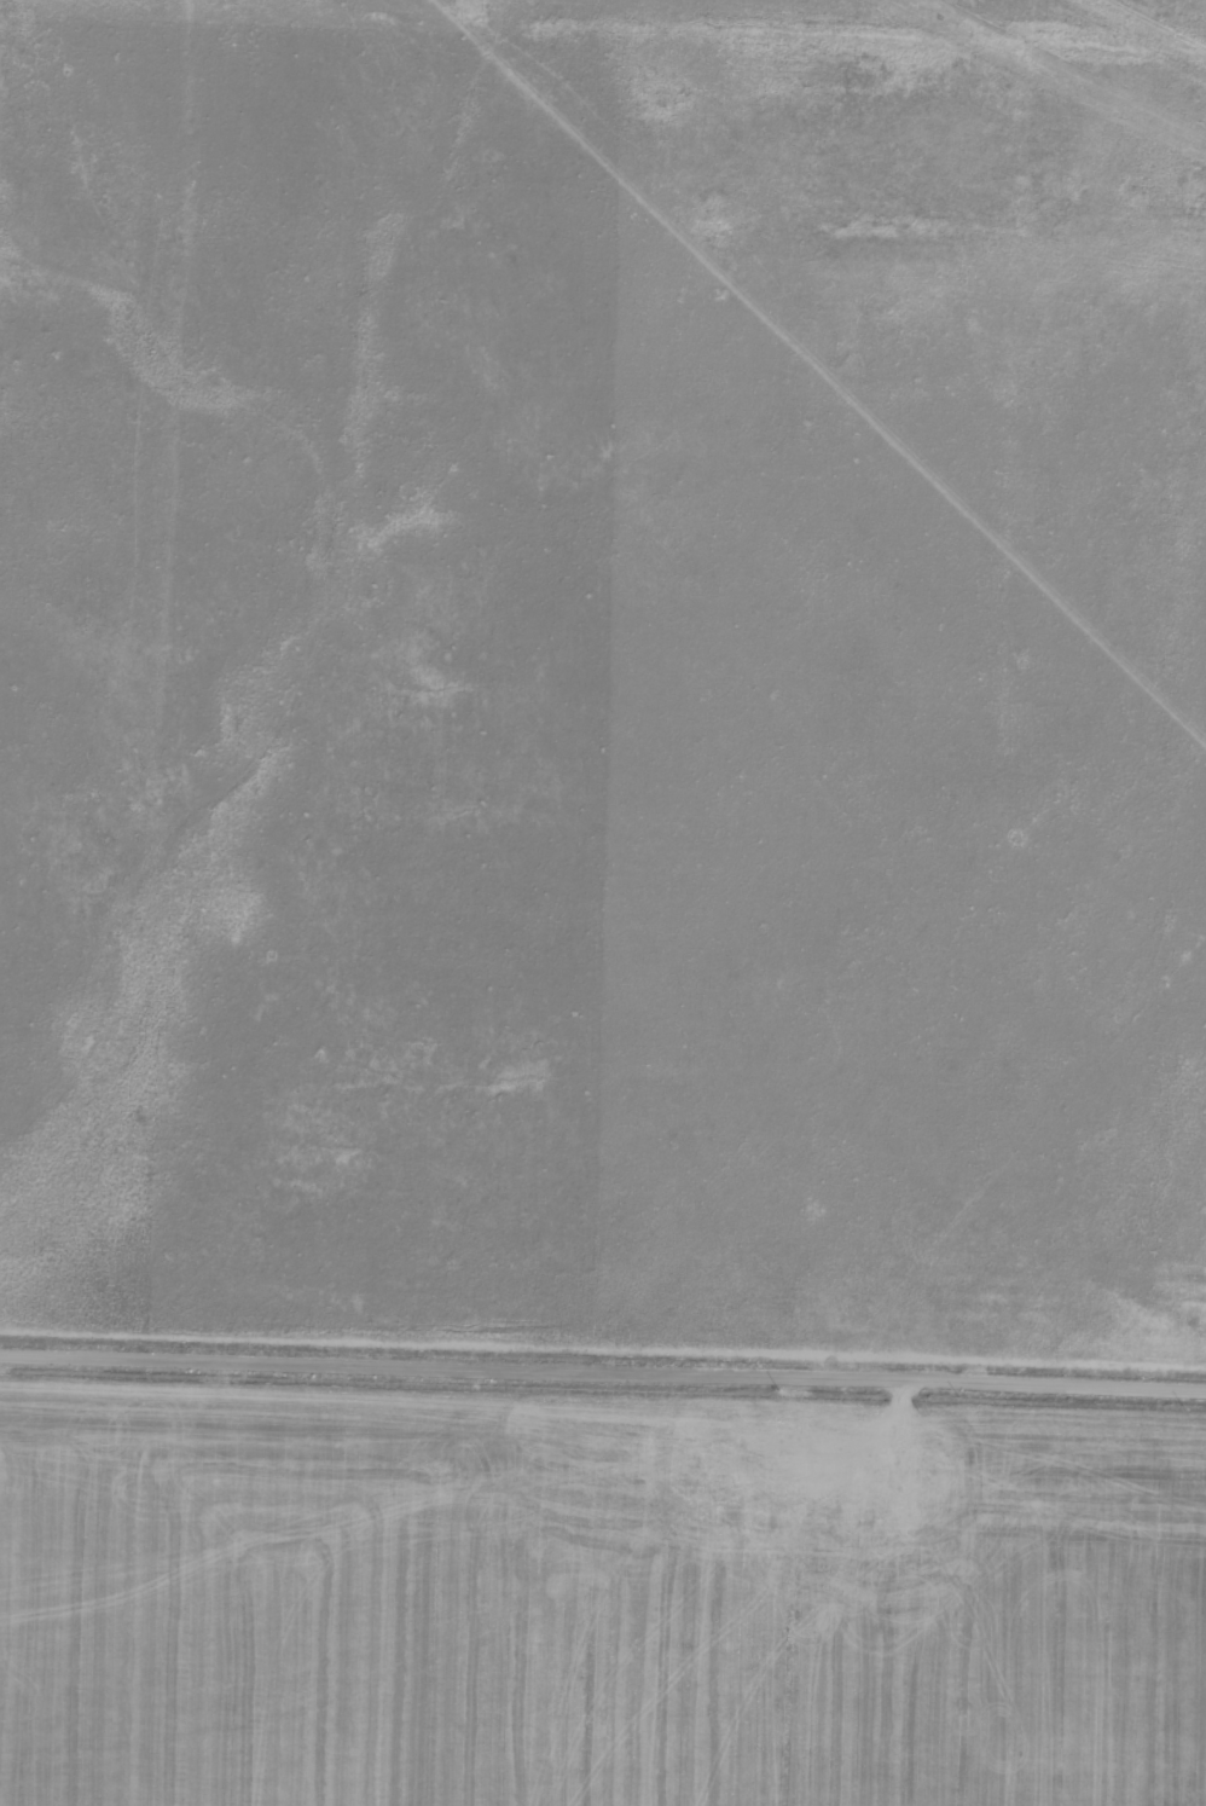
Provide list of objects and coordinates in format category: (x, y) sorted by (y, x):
road: (603, 1368)

